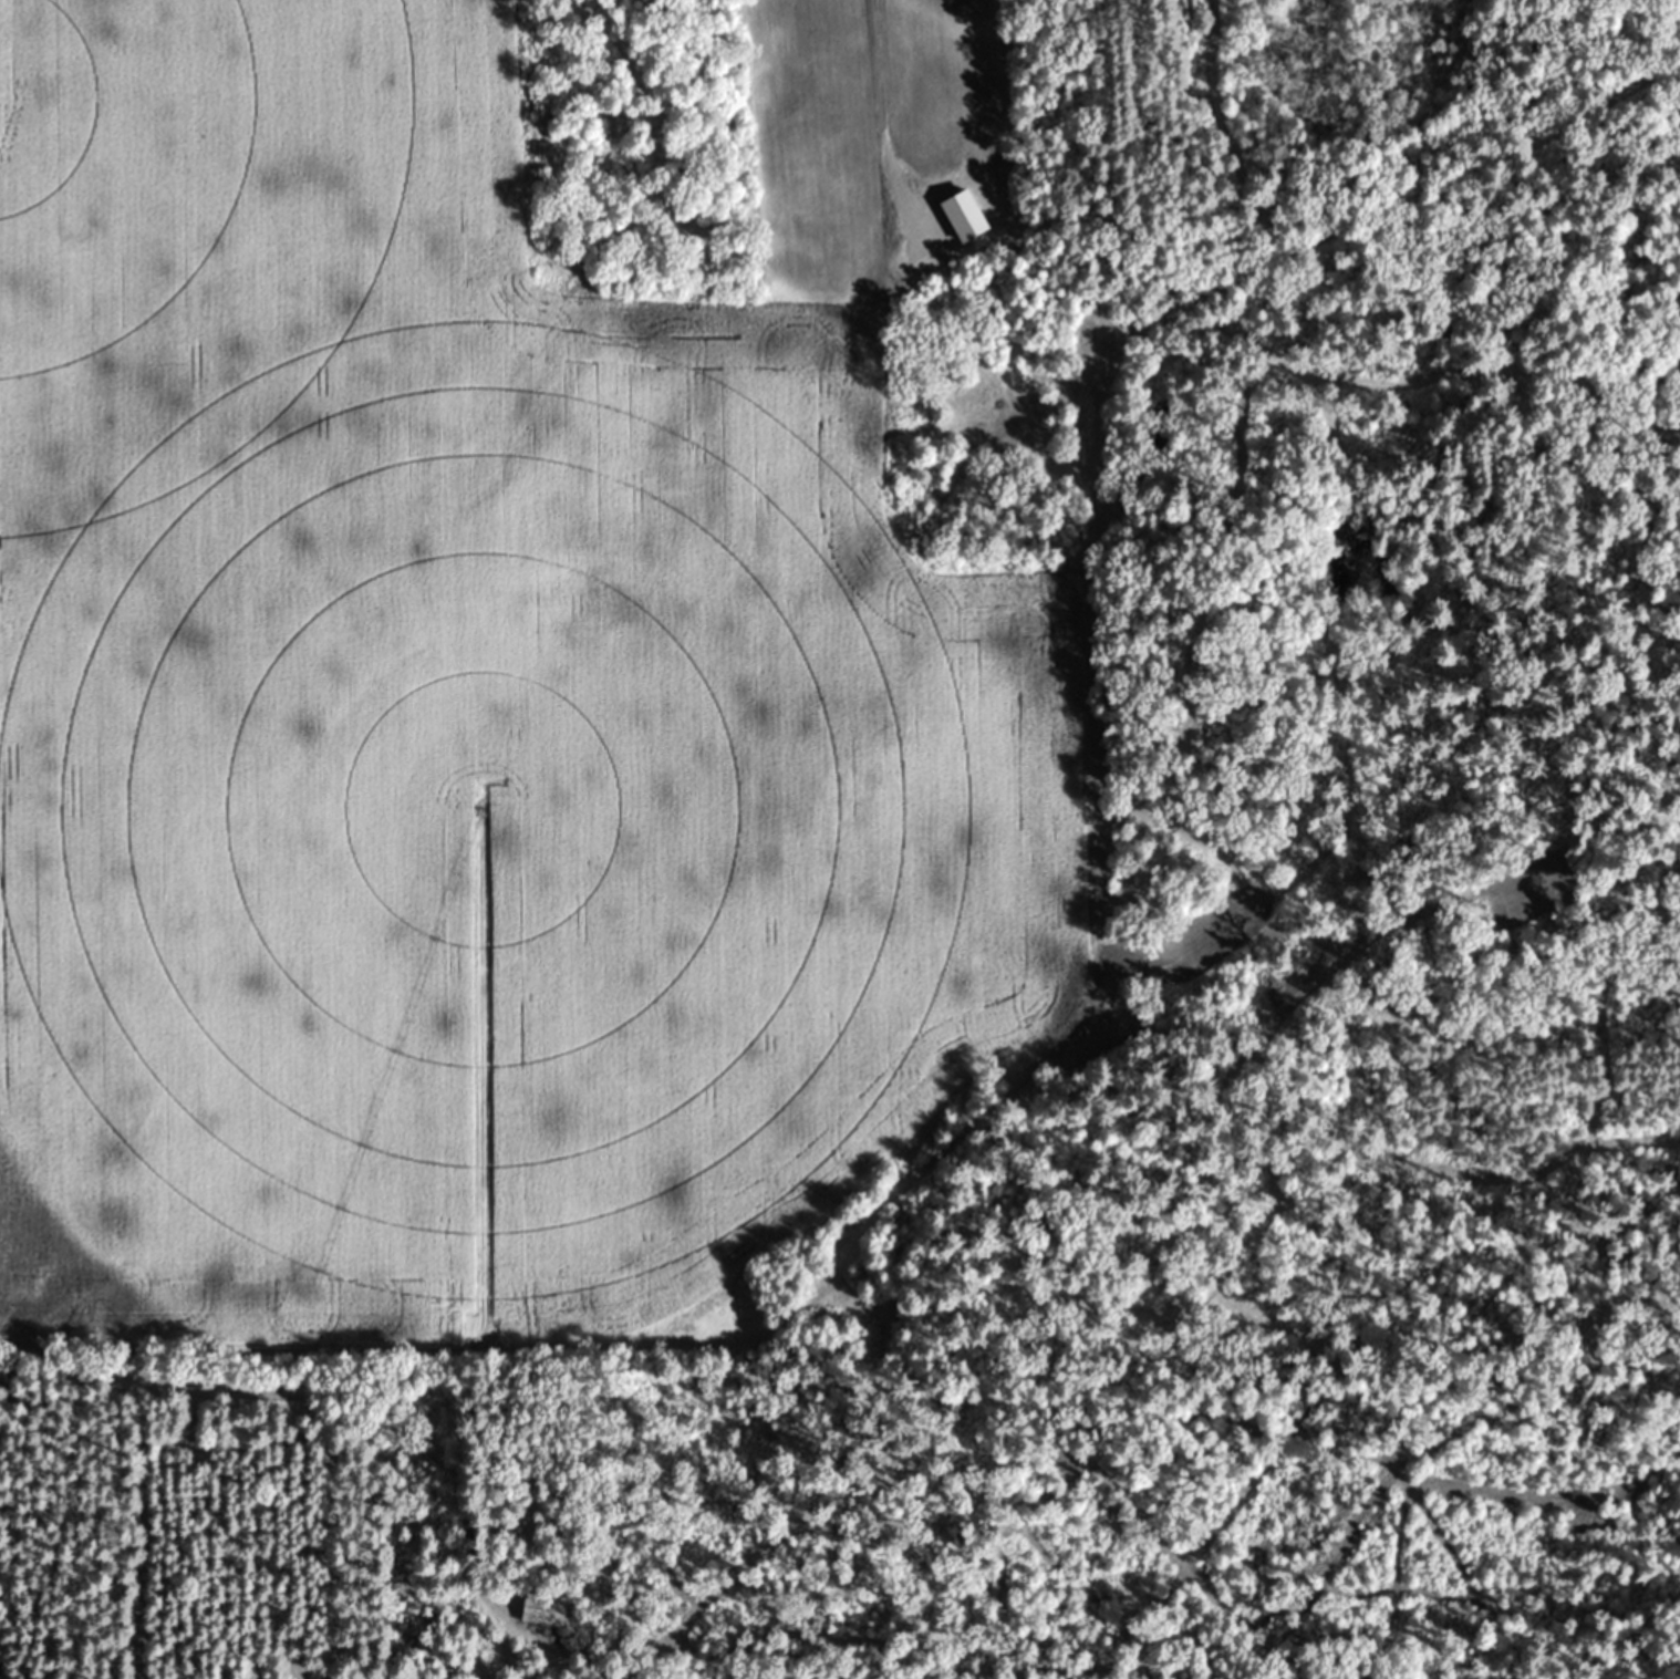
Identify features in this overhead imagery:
building: (541, 1608)

